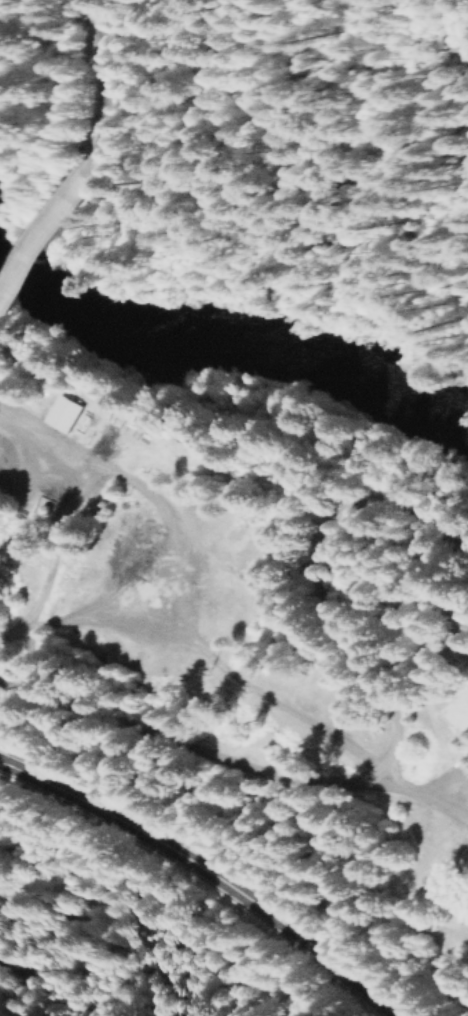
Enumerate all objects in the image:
road: (102, 84)
road: (42, 226)
river: (233, 346)
building: (56, 414)
road: (142, 492)
road: (313, 573)
road: (40, 601)
road: (205, 658)
power tower: (186, 662)
building: (467, 695)
road: (189, 750)
road: (429, 795)
road: (209, 868)

